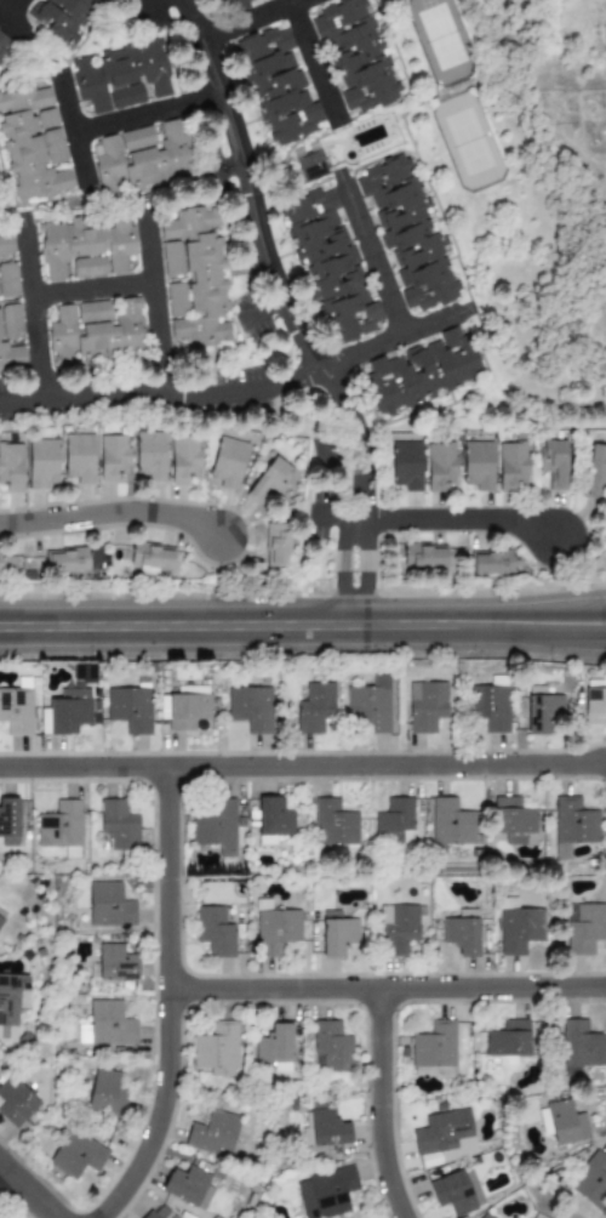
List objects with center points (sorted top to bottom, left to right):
road: (12, 4)
building: (247, 5)
road: (16, 13)
road: (244, 15)
building: (65, 17)
building: (4, 45)
building: (605, 46)
building: (356, 55)
road: (318, 57)
building: (121, 76)
building: (278, 86)
road: (153, 106)
road: (81, 131)
building: (32, 142)
building: (142, 159)
building: (313, 167)
building: (407, 233)
road: (375, 245)
building: (6, 246)
building: (86, 247)
building: (172, 260)
road: (273, 260)
building: (330, 264)
building: (196, 278)
building: (8, 280)
road: (95, 284)
road: (156, 301)
road: (39, 312)
building: (11, 320)
building: (95, 331)
building: (11, 357)
building: (421, 374)
road: (248, 393)
building: (149, 454)
building: (112, 456)
building: (78, 457)
building: (184, 457)
building: (227, 462)
building: (41, 463)
building: (553, 463)
building: (478, 465)
building: (406, 466)
building: (439, 466)
building: (510, 466)
building: (11, 467)
building: (595, 469)
building: (269, 479)
road: (114, 506)
road: (468, 513)
building: (276, 543)
building: (422, 554)
building: (150, 556)
building: (67, 562)
building: (491, 562)
building: (0, 563)
road: (342, 564)
road: (366, 567)
road: (303, 621)
building: (370, 705)
building: (425, 706)
building: (595, 706)
building: (184, 707)
building: (251, 707)
building: (315, 707)
building: (130, 708)
building: (16, 711)
building: (69, 711)
building: (543, 711)
road: (303, 758)
building: (511, 819)
building: (273, 820)
building: (394, 820)
building: (8, 821)
building: (451, 823)
building: (335, 824)
building: (59, 825)
building: (116, 825)
building: (215, 825)
building: (572, 825)
building: (109, 905)
building: (0, 921)
building: (518, 928)
building: (276, 929)
building: (398, 929)
building: (583, 929)
building: (213, 932)
building: (462, 933)
building: (337, 935)
building: (115, 963)
road: (384, 979)
building: (11, 997)
road: (164, 998)
building: (107, 1025)
building: (508, 1040)
building: (582, 1045)
building: (332, 1046)
building: (275, 1047)
building: (434, 1048)
building: (217, 1049)
building: (105, 1093)
road: (379, 1100)
building: (16, 1103)
building: (561, 1122)
building: (327, 1127)
building: (212, 1133)
building: (442, 1136)
building: (76, 1155)
building: (591, 1182)
building: (185, 1184)
road: (30, 1188)
building: (457, 1191)
building: (326, 1193)
building: (156, 1212)
building: (485, 1216)
building: (215, 1217)

